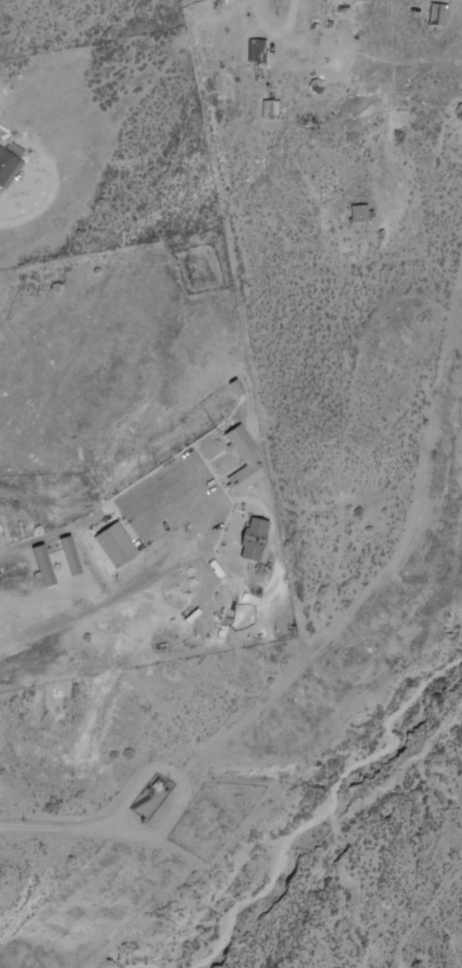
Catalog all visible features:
building: (440, 14)
building: (259, 50)
building: (267, 109)
building: (12, 162)
building: (248, 459)
building: (46, 565)
road: (100, 600)
building: (160, 785)

